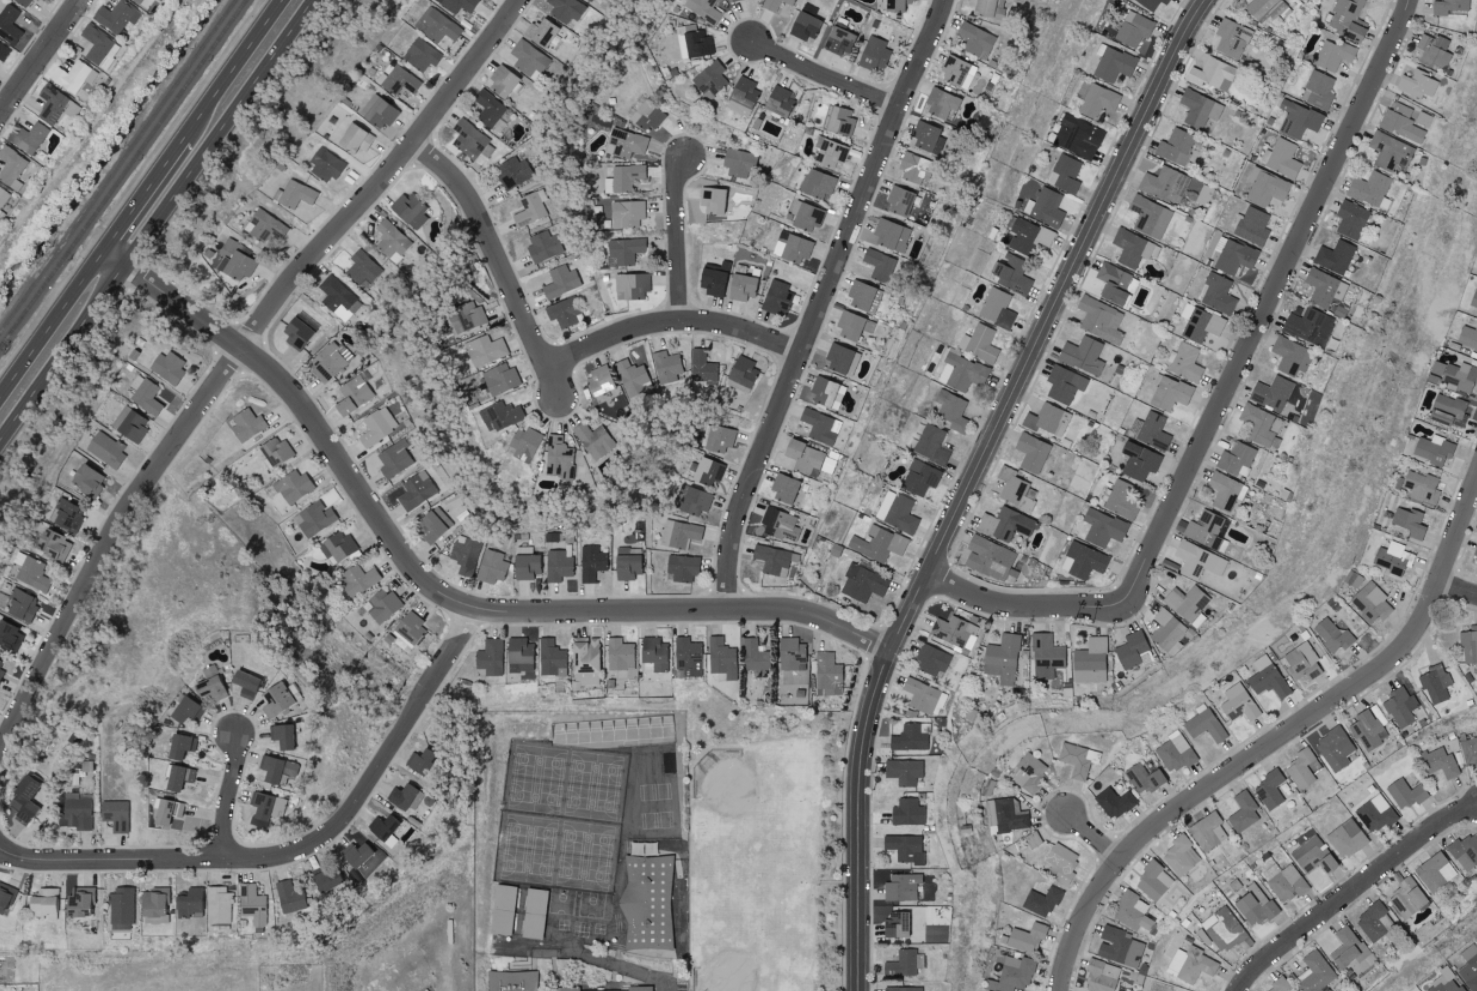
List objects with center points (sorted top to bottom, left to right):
building: (43, 0)
building: (589, 0)
building: (730, 0)
building: (137, 1)
building: (22, 2)
building: (457, 4)
building: (774, 4)
building: (1150, 4)
building: (896, 5)
building: (984, 7)
building: (1448, 7)
building: (565, 9)
building: (703, 9)
building: (1266, 9)
building: (116, 16)
building: (1346, 19)
building: (9, 24)
building: (436, 25)
building: (804, 26)
building: (1132, 29)
building: (539, 32)
building: (1231, 38)
building: (975, 40)
building: (837, 41)
building: (696, 44)
building: (99, 46)
building: (4, 51)
building: (1433, 51)
building: (873, 54)
road: (39, 55)
building: (420, 55)
building: (1333, 55)
building: (525, 57)
building: (1112, 63)
road: (234, 71)
building: (957, 72)
building: (1212, 74)
building: (73, 77)
road: (825, 77)
building: (709, 79)
building: (397, 80)
building: (501, 82)
building: (1416, 84)
building: (1318, 90)
building: (741, 95)
building: (1095, 99)
building: (779, 101)
building: (940, 103)
building: (51, 104)
building: (488, 108)
building: (1198, 109)
building: (377, 112)
building: (646, 116)
building: (1297, 119)
building: (839, 121)
building: (1405, 121)
building: (27, 137)
building: (1077, 137)
building: (928, 138)
building: (353, 139)
building: (469, 139)
building: (625, 143)
building: (1175, 147)
building: (1390, 152)
building: (829, 153)
building: (1280, 158)
building: (737, 162)
building: (325, 165)
railway: (118, 167)
building: (11, 168)
building: (912, 169)
building: (511, 172)
railway: (122, 173)
building: (1064, 174)
building: (623, 178)
building: (818, 184)
building: (1165, 184)
building: (1265, 187)
building: (1370, 190)
building: (293, 194)
building: (1203, 195)
building: (3, 197)
road: (144, 197)
building: (712, 201)
building: (898, 202)
building: (529, 208)
building: (1047, 208)
building: (409, 211)
building: (628, 214)
building: (805, 216)
building: (1149, 216)
building: (1350, 219)
road: (155, 221)
building: (1250, 226)
building: (265, 227)
building: (890, 235)
building: (1028, 236)
road: (677, 240)
building: (390, 241)
building: (542, 246)
building: (791, 248)
building: (1131, 248)
building: (624, 251)
building: (1232, 255)
building: (1334, 257)
building: (233, 261)
road: (498, 263)
building: (876, 263)
building: (360, 268)
building: (1011, 274)
building: (712, 280)
building: (560, 282)
building: (1115, 284)
building: (634, 286)
building: (740, 287)
building: (1323, 288)
building: (1216, 293)
building: (337, 296)
building: (860, 296)
building: (776, 298)
building: (1473, 300)
road: (1272, 301)
road: (821, 302)
building: (996, 309)
building: (562, 312)
building: (466, 317)
building: (1099, 319)
road: (670, 324)
building: (1201, 325)
road: (52, 326)
building: (853, 326)
building: (1308, 326)
building: (296, 333)
building: (1467, 338)
building: (978, 343)
building: (484, 350)
road: (234, 355)
building: (1081, 355)
building: (1288, 355)
building: (841, 360)
building: (330, 361)
building: (1184, 363)
building: (167, 366)
building: (666, 367)
building: (701, 367)
building: (963, 372)
building: (742, 373)
building: (1455, 375)
building: (630, 377)
building: (500, 379)
building: (598, 382)
building: (1063, 384)
building: (826, 393)
building: (1168, 393)
building: (1271, 393)
building: (144, 396)
building: (352, 396)
building: (951, 410)
building: (1446, 410)
building: (500, 416)
building: (1045, 419)
building: (247, 425)
building: (377, 426)
building: (1261, 426)
building: (131, 427)
building: (820, 427)
building: (1149, 430)
building: (718, 439)
building: (594, 440)
building: (523, 444)
building: (932, 445)
building: (105, 449)
building: (1432, 450)
building: (275, 451)
building: (1030, 452)
building: (558, 458)
building: (803, 458)
building: (394, 459)
building: (1236, 460)
building: (1138, 461)
building: (827, 464)
building: (706, 472)
building: (919, 478)
road: (972, 479)
building: (86, 481)
building: (292, 487)
building: (1421, 487)
building: (783, 489)
building: (1014, 490)
building: (415, 491)
building: (1225, 491)
building: (691, 500)
building: (1121, 501)
building: (896, 512)
building: (67, 515)
building: (314, 519)
building: (1408, 522)
building: (1004, 524)
building: (432, 525)
building: (779, 525)
building: (1102, 528)
building: (1204, 529)
building: (679, 534)
building: (52, 544)
building: (877, 544)
building: (339, 547)
building: (835, 550)
building: (1475, 551)
building: (465, 556)
building: (1392, 559)
building: (772, 560)
building: (1082, 561)
building: (1197, 561)
building: (591, 563)
building: (627, 563)
building: (558, 566)
building: (492, 567)
building: (525, 567)
building: (682, 568)
building: (33, 574)
building: (357, 580)
building: (1353, 580)
building: (862, 584)
road: (1458, 588)
road: (428, 589)
building: (1370, 603)
building: (1187, 604)
building: (21, 605)
building: (382, 605)
road: (1025, 608)
building: (409, 627)
building: (955, 632)
building: (1167, 632)
building: (1331, 635)
building: (10, 636)
building: (1469, 644)
building: (1131, 649)
building: (653, 653)
building: (791, 653)
building: (517, 654)
building: (753, 655)
building: (687, 656)
building: (1045, 656)
building: (488, 657)
building: (550, 658)
building: (721, 658)
building: (620, 659)
building: (930, 659)
building: (1001, 659)
building: (584, 661)
building: (1089, 661)
building: (1302, 661)
building: (1, 666)
building: (827, 671)
building: (1266, 678)
building: (234, 680)
building: (202, 683)
building: (1434, 683)
building: (921, 695)
building: (267, 696)
building: (1237, 703)
building: (1400, 706)
building: (178, 708)
building: (1203, 723)
building: (273, 733)
building: (909, 737)
road: (1276, 743)
building: (174, 744)
building: (1334, 748)
building: (1469, 750)
building: (1174, 752)
building: (1077, 759)
building: (420, 760)
building: (1438, 762)
building: (269, 767)
building: (1300, 768)
building: (903, 771)
building: (1028, 772)
building: (172, 776)
building: (1144, 778)
building: (1269, 788)
building: (1404, 793)
road: (228, 796)
building: (401, 796)
building: (23, 798)
park: (741, 798)
building: (1113, 802)
building: (261, 807)
building: (163, 810)
building: (1242, 811)
building: (76, 812)
building: (906, 812)
building: (990, 812)
building: (1375, 813)
building: (116, 814)
building: (1010, 815)
building: (384, 828)
building: (1207, 831)
road: (1094, 838)
building: (1345, 838)
building: (1032, 839)
building: (904, 847)
road: (297, 849)
building: (1464, 851)
park: (766, 853)
building: (355, 854)
building: (1180, 855)
building: (1312, 855)
building: (1060, 862)
building: (1435, 871)
park: (755, 875)
building: (326, 879)
building: (1153, 880)
building: (1283, 881)
building: (901, 886)
road: (1353, 893)
building: (6, 894)
building: (288, 896)
building: (1406, 898)
building: (1041, 900)
building: (152, 901)
building: (80, 902)
building: (187, 902)
building: (42, 903)
building: (121, 905)
building: (217, 905)
building: (1253, 905)
building: (253, 906)
building: (650, 910)
building: (1132, 911)
building: (506, 915)
building: (1372, 920)
building: (536, 921)
building: (154, 923)
building: (895, 924)
building: (1222, 928)
building: (1026, 937)
building: (1118, 946)
building: (1346, 947)
park: (734, 957)
building: (904, 962)
road: (610, 964)
building: (1190, 964)
building: (1469, 967)
building: (1016, 972)
building: (1314, 972)
building: (1101, 976)
building: (1444, 981)
building: (514, 983)
building: (1279, 984)
building: (902, 988)

